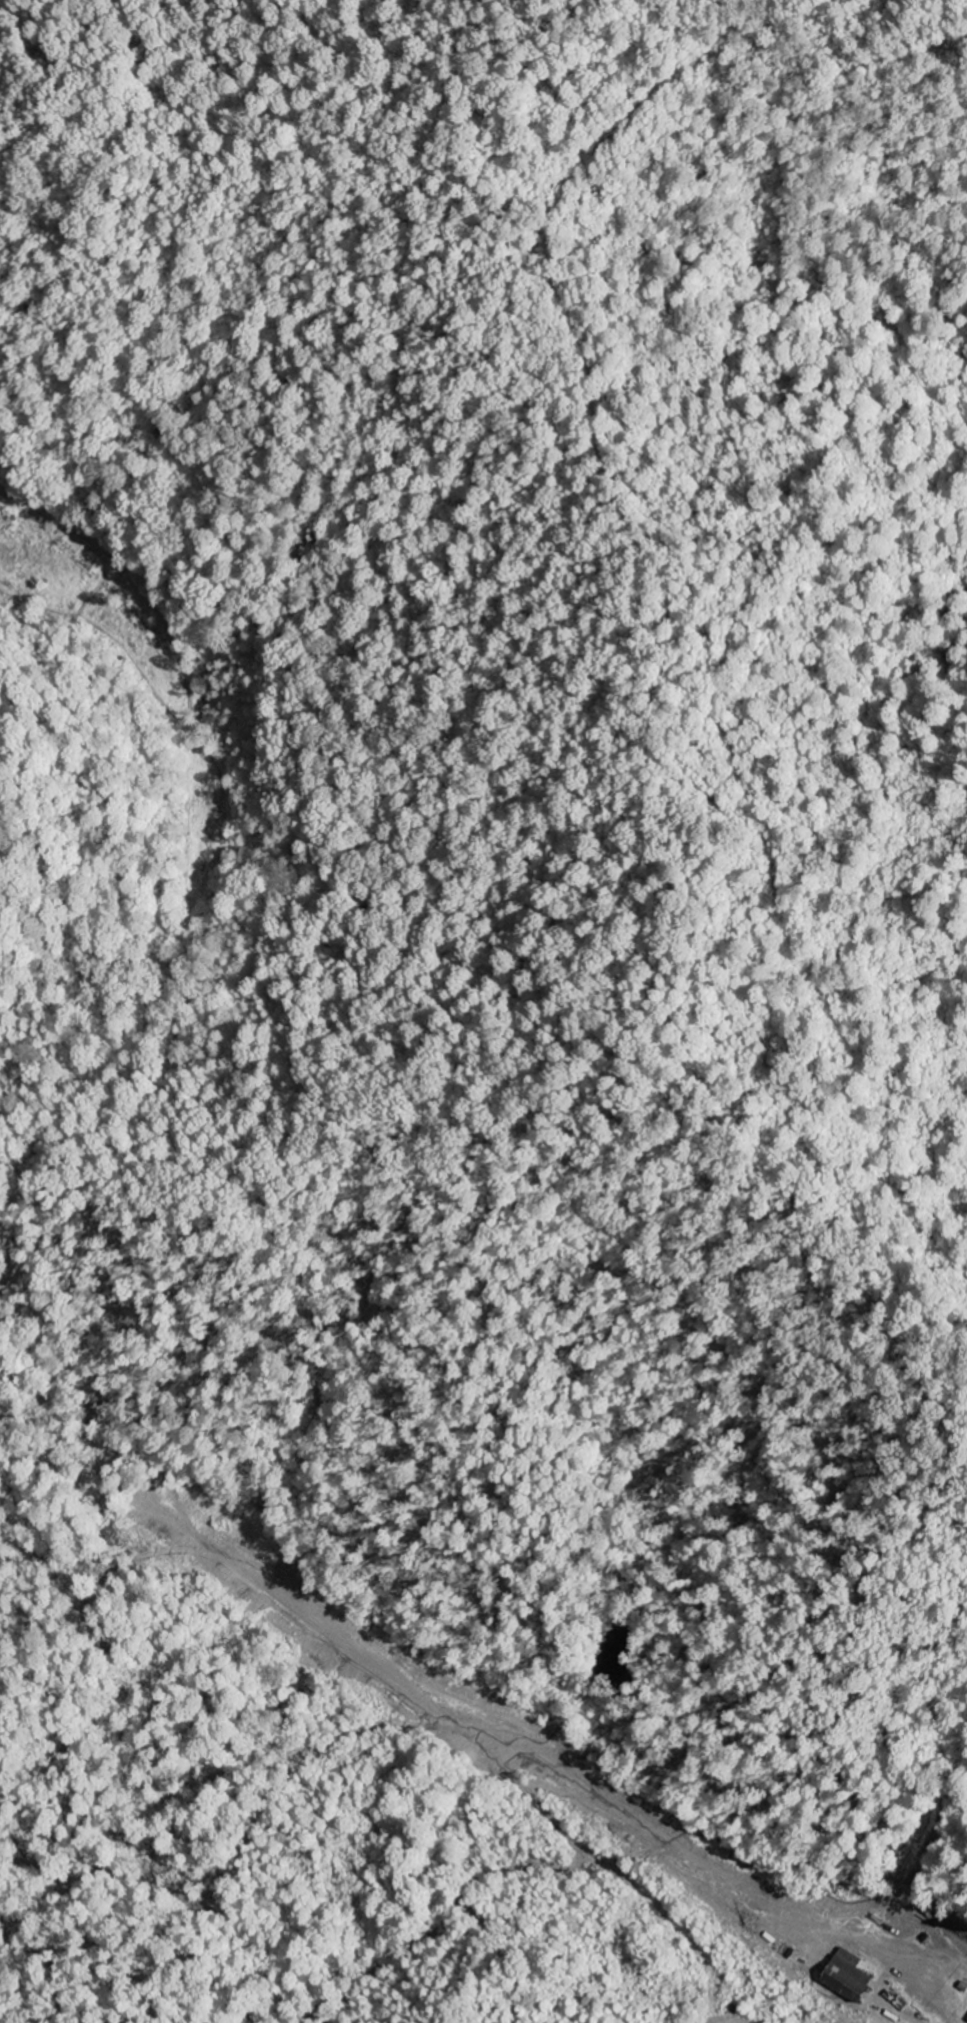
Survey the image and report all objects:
building: (851, 1978)

